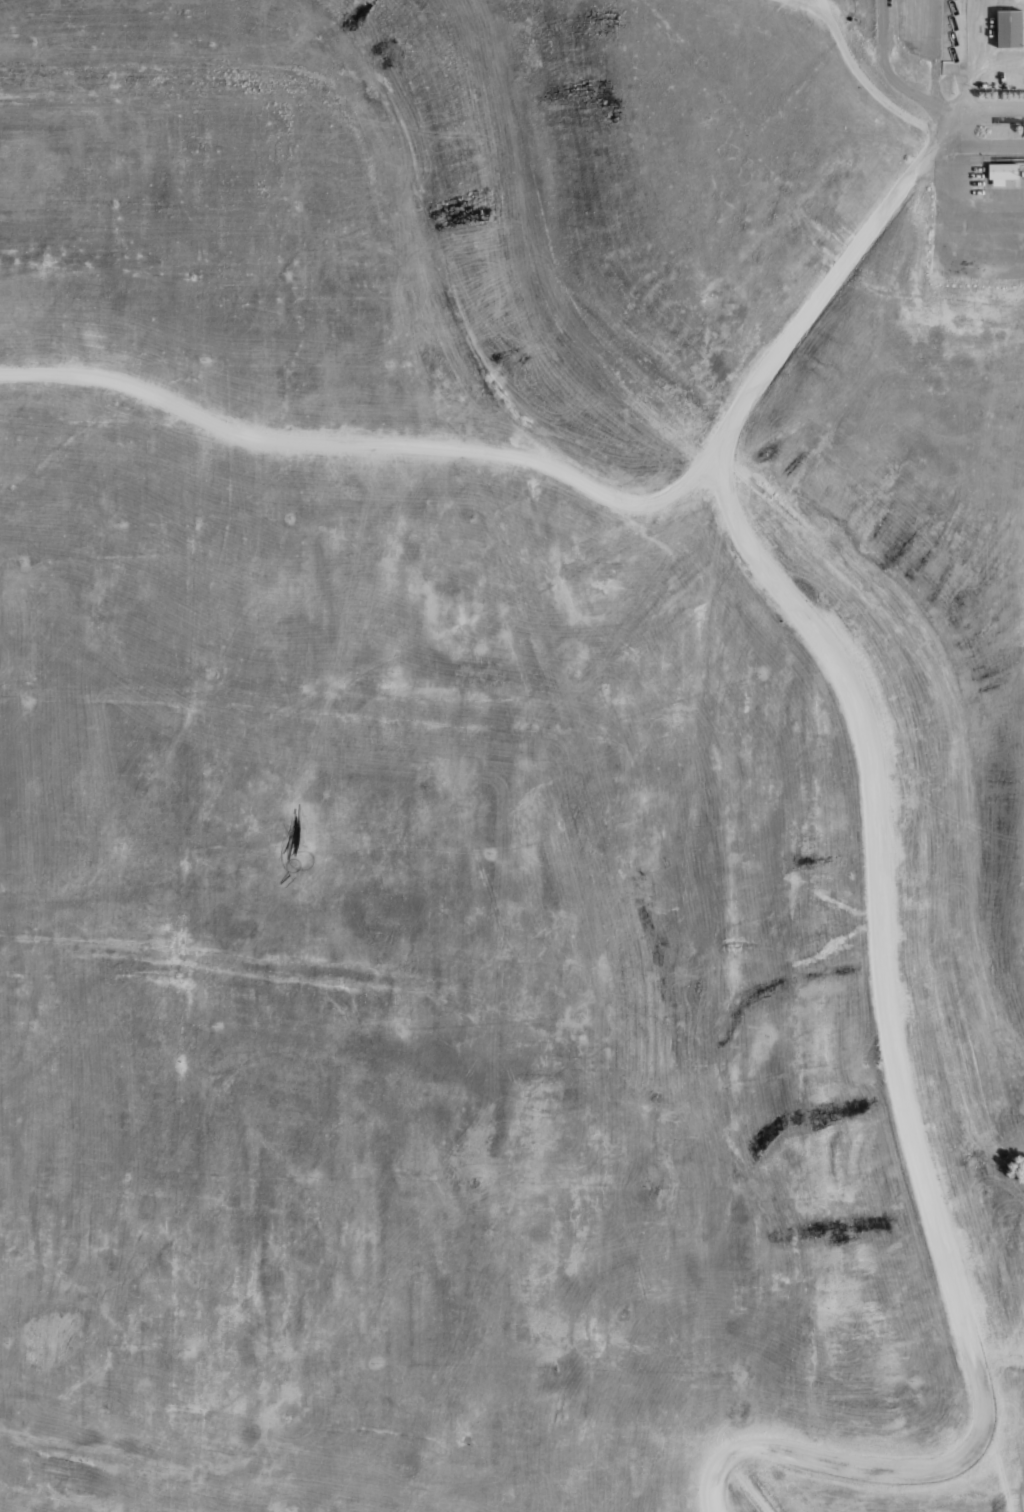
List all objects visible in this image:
road: (797, 9)
building: (1010, 28)
road: (971, 66)
road: (965, 127)
road: (928, 129)
building: (1003, 172)
road: (371, 443)
landfill: (512, 756)
road: (883, 889)
road: (999, 1468)
road: (746, 1485)

